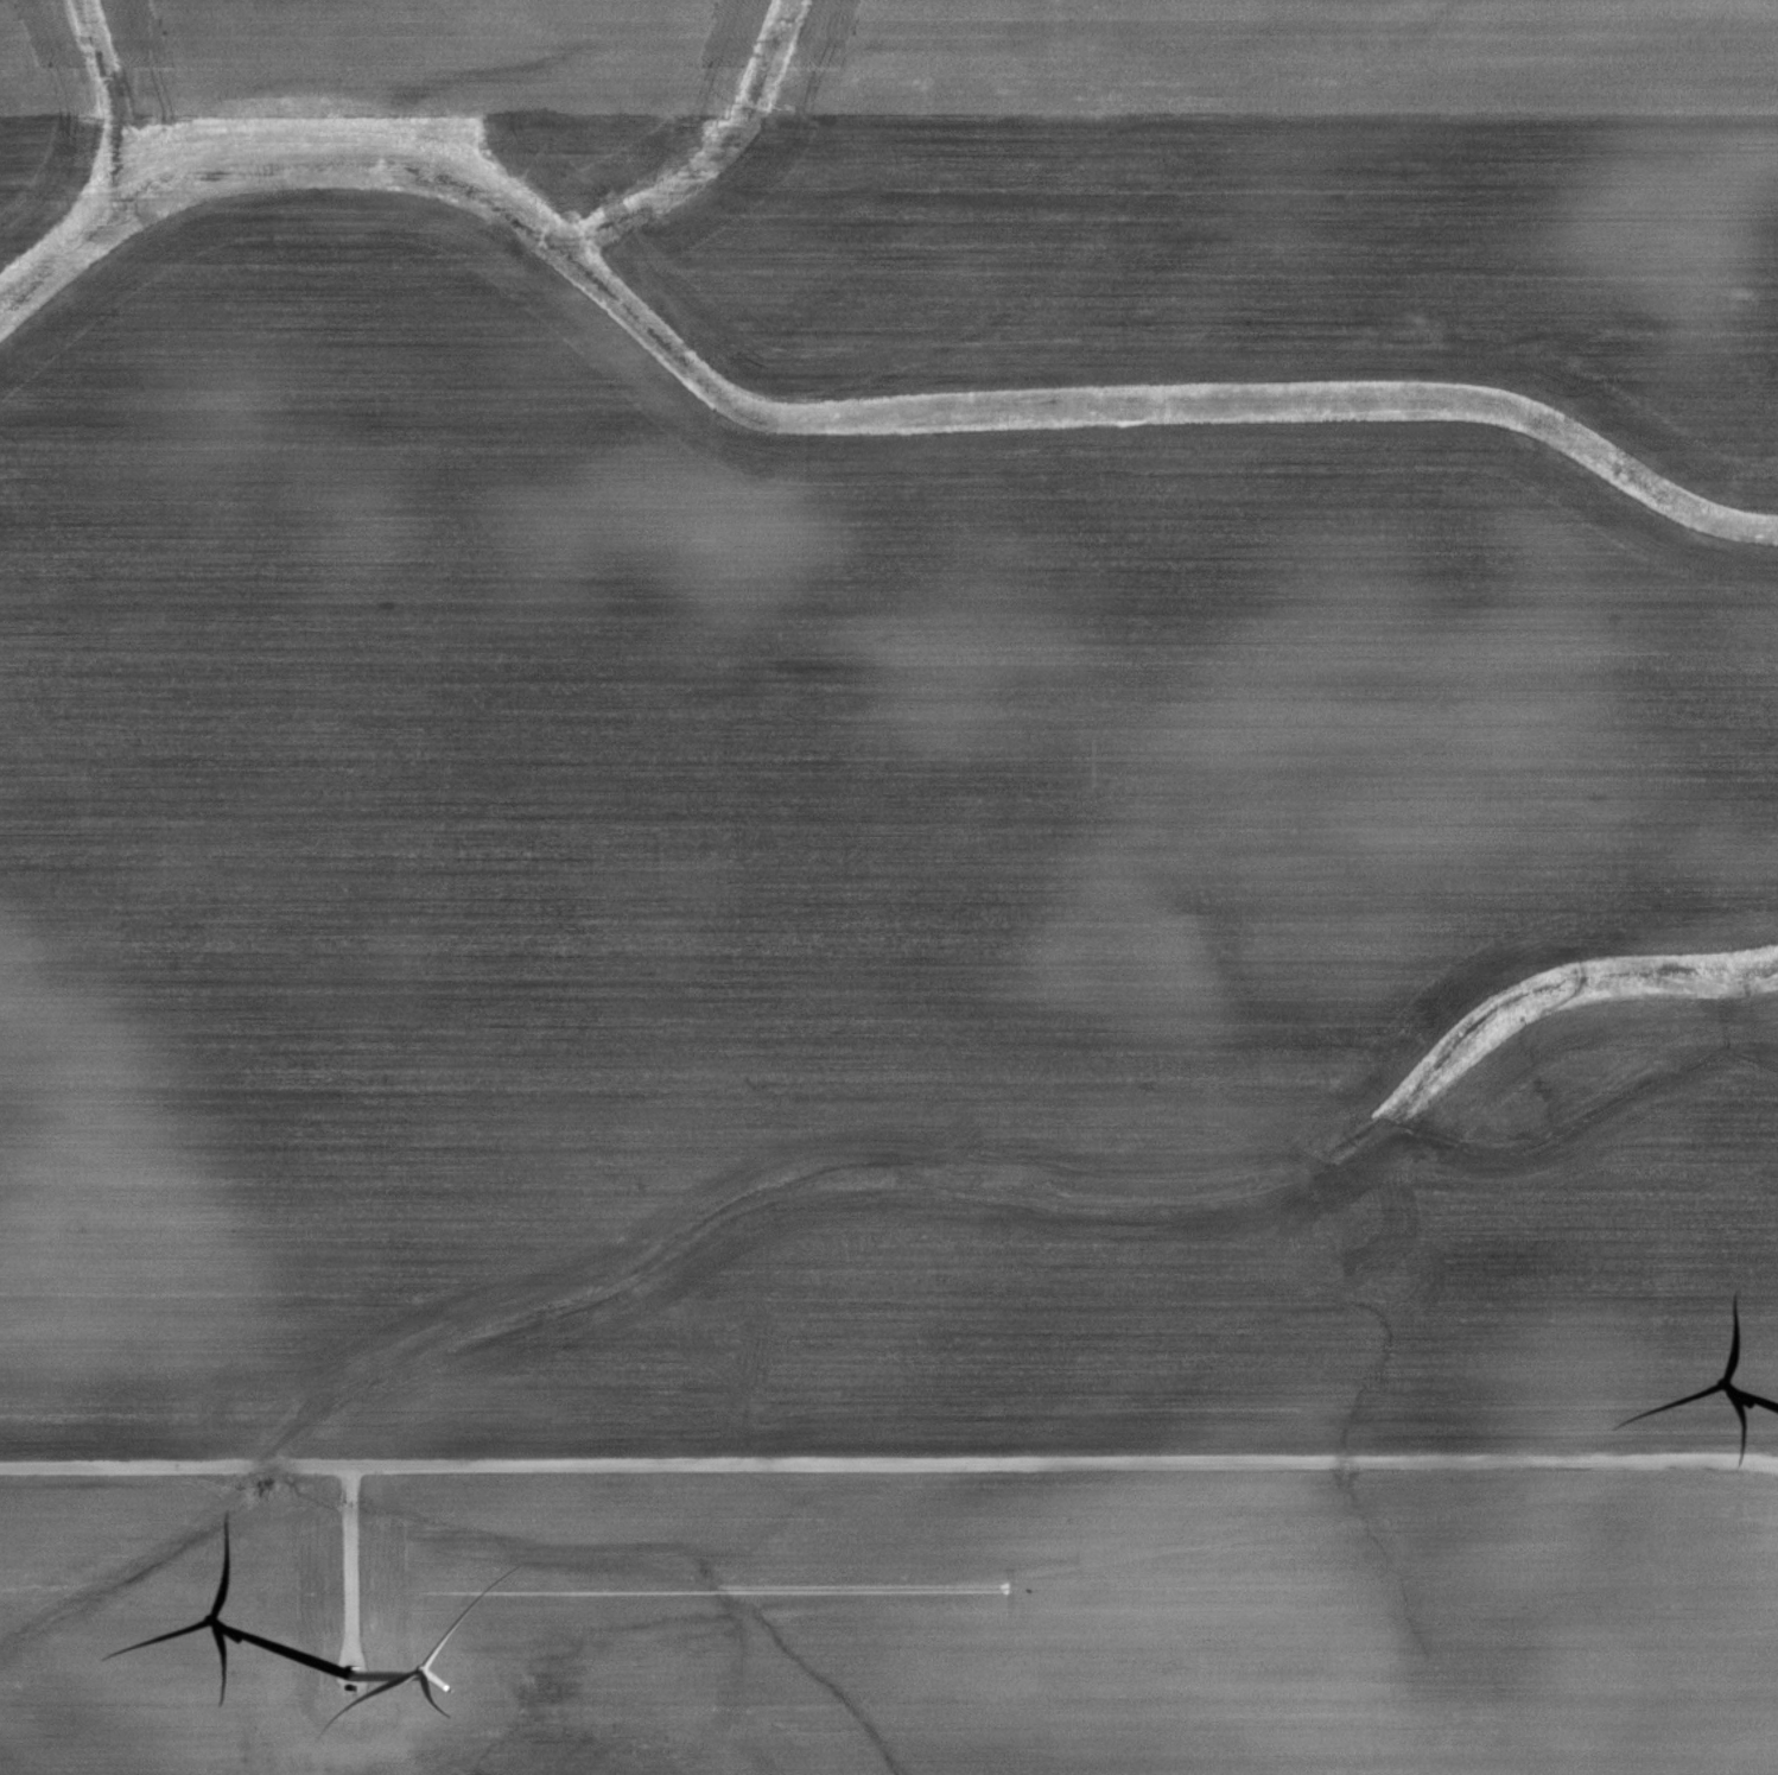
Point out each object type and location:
road: (888, 1460)
wind turbine: (355, 1690)

